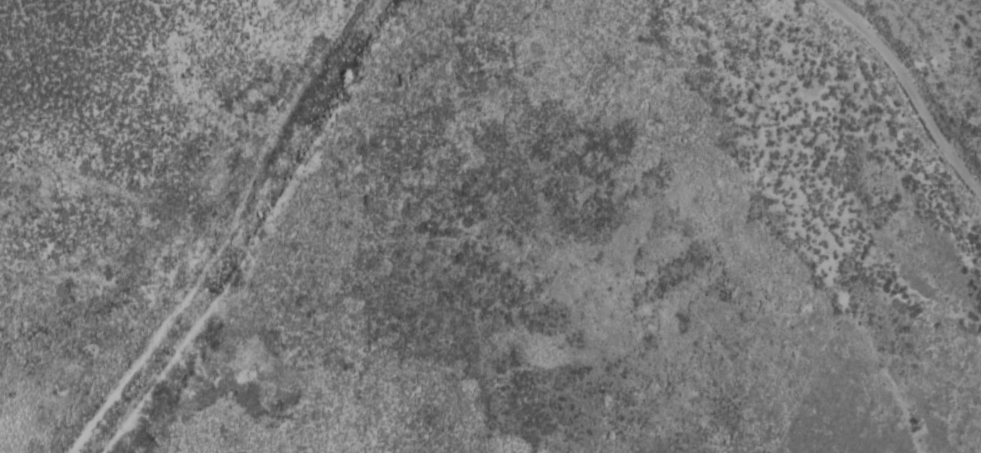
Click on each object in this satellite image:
road: (905, 90)

